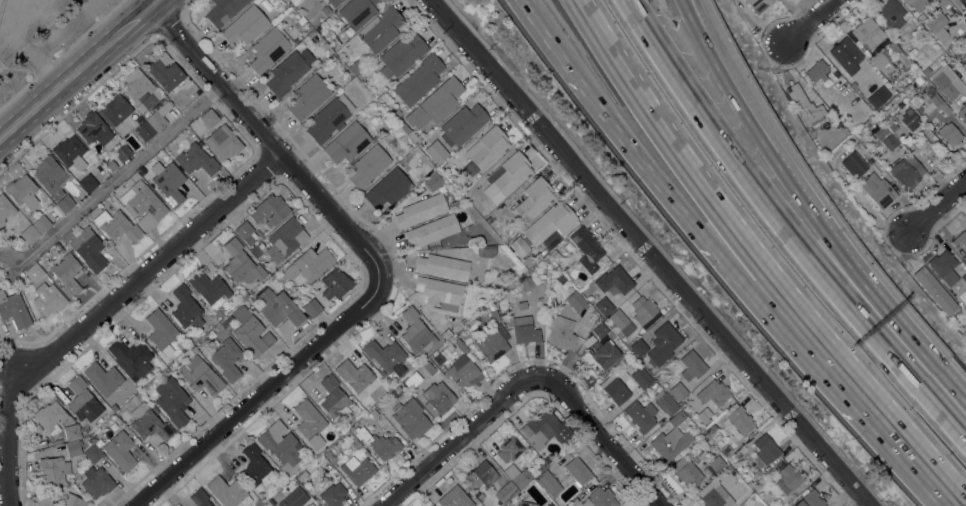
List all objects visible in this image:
road: (155, 1)
building: (334, 2)
road: (1, 4)
building: (758, 4)
building: (917, 4)
building: (223, 10)
building: (951, 10)
building: (357, 12)
building: (891, 12)
road: (812, 22)
building: (844, 24)
building: (937, 24)
building: (245, 25)
building: (381, 29)
building: (868, 32)
building: (963, 38)
building: (954, 46)
building: (268, 49)
building: (402, 54)
building: (846, 54)
building: (960, 57)
building: (901, 58)
building: (882, 61)
building: (355, 67)
building: (823, 70)
road: (77, 71)
building: (164, 71)
building: (288, 71)
building: (926, 71)
building: (348, 72)
building: (360, 75)
building: (419, 79)
building: (947, 81)
building: (336, 85)
building: (137, 86)
building: (308, 96)
building: (878, 96)
building: (442, 99)
building: (804, 103)
building: (939, 103)
building: (116, 110)
building: (963, 110)
road: (752, 111)
building: (411, 112)
building: (209, 118)
building: (329, 118)
building: (910, 118)
building: (156, 119)
building: (873, 120)
building: (464, 123)
building: (92, 128)
building: (145, 132)
building: (950, 133)
building: (886, 137)
building: (223, 142)
building: (347, 142)
road: (268, 144)
building: (486, 149)
building: (70, 151)
building: (122, 152)
building: (197, 159)
building: (865, 159)
road: (740, 163)
building: (368, 166)
road: (639, 167)
building: (906, 171)
building: (512, 173)
road: (117, 175)
building: (50, 176)
building: (132, 177)
building: (433, 181)
building: (88, 182)
building: (168, 182)
building: (388, 188)
building: (878, 189)
building: (22, 191)
building: (534, 198)
building: (65, 203)
building: (143, 204)
road: (937, 206)
building: (5, 208)
building: (421, 209)
building: (269, 210)
road: (715, 211)
building: (93, 212)
building: (549, 222)
building: (42, 223)
building: (117, 225)
building: (432, 229)
building: (246, 232)
building: (29, 234)
building: (285, 239)
building: (960, 239)
building: (519, 246)
building: (258, 248)
building: (586, 248)
building: (90, 249)
building: (486, 250)
road: (650, 252)
building: (241, 262)
building: (309, 263)
building: (443, 266)
road: (845, 266)
building: (944, 266)
road: (148, 267)
building: (34, 272)
building: (67, 273)
building: (964, 277)
building: (560, 278)
building: (614, 281)
building: (335, 283)
building: (526, 283)
building: (209, 286)
building: (936, 291)
building: (440, 292)
building: (245, 294)
building: (48, 298)
building: (576, 300)
building: (522, 304)
building: (604, 305)
building: (186, 307)
building: (312, 307)
building: (643, 308)
building: (13, 309)
building: (279, 309)
building: (495, 315)
building: (621, 322)
building: (229, 327)
building: (524, 329)
building: (600, 329)
building: (161, 331)
building: (251, 331)
building: (416, 332)
building: (561, 332)
building: (446, 333)
building: (492, 342)
building: (663, 343)
building: (459, 345)
building: (639, 347)
building: (385, 355)
building: (599, 356)
building: (131, 357)
building: (227, 358)
building: (438, 358)
building: (692, 365)
building: (428, 367)
road: (824, 369)
road: (917, 369)
building: (461, 371)
building: (200, 374)
building: (353, 374)
building: (103, 377)
building: (642, 377)
building: (655, 385)
building: (614, 388)
building: (678, 390)
road: (262, 392)
building: (714, 392)
building: (334, 397)
building: (436, 399)
building: (83, 400)
building: (172, 401)
building: (665, 402)
building: (111, 404)
building: (373, 412)
building: (704, 414)
building: (641, 415)
building: (50, 416)
building: (412, 418)
building: (740, 419)
building: (149, 422)
building: (310, 422)
building: (540, 427)
building: (710, 430)
building: (71, 432)
road: (462, 438)
road: (600, 438)
building: (671, 438)
road: (6, 441)
building: (58, 441)
building: (280, 442)
building: (379, 444)
building: (74, 447)
building: (509, 448)
building: (766, 448)
building: (121, 450)
building: (93, 453)
building: (331, 458)
road: (915, 459)
building: (547, 460)
building: (717, 462)
building: (750, 464)
building: (256, 466)
building: (53, 469)
building: (357, 469)
building: (577, 469)
building: (687, 471)
building: (482, 474)
building: (518, 474)
building: (302, 475)
building: (790, 476)
building: (97, 481)
building: (548, 482)
building: (228, 492)
building: (505, 492)
building: (333, 494)
building: (277, 495)
building: (715, 495)
building: (200, 497)
building: (293, 497)
building: (455, 497)
building: (600, 498)
building: (810, 499)
building: (73, 500)
building: (44, 501)
building: (573, 502)
building: (525, 503)
building: (310, 504)
building: (549, 504)
building: (430, 505)
building: (566, 505)

